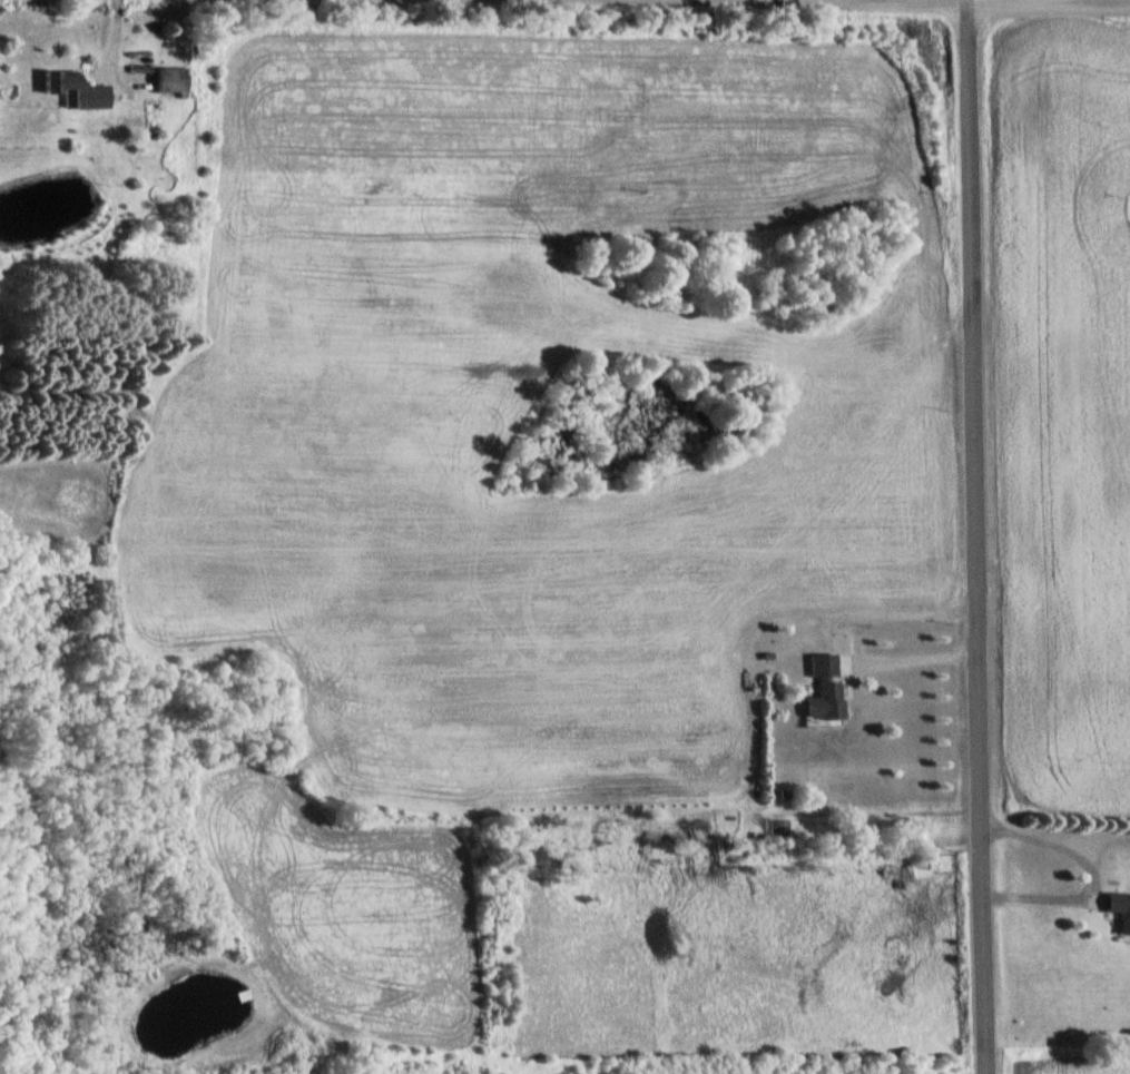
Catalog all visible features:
road: (981, 3)
building: (175, 80)
building: (80, 90)
road: (977, 536)
building: (828, 687)
building: (1121, 907)

